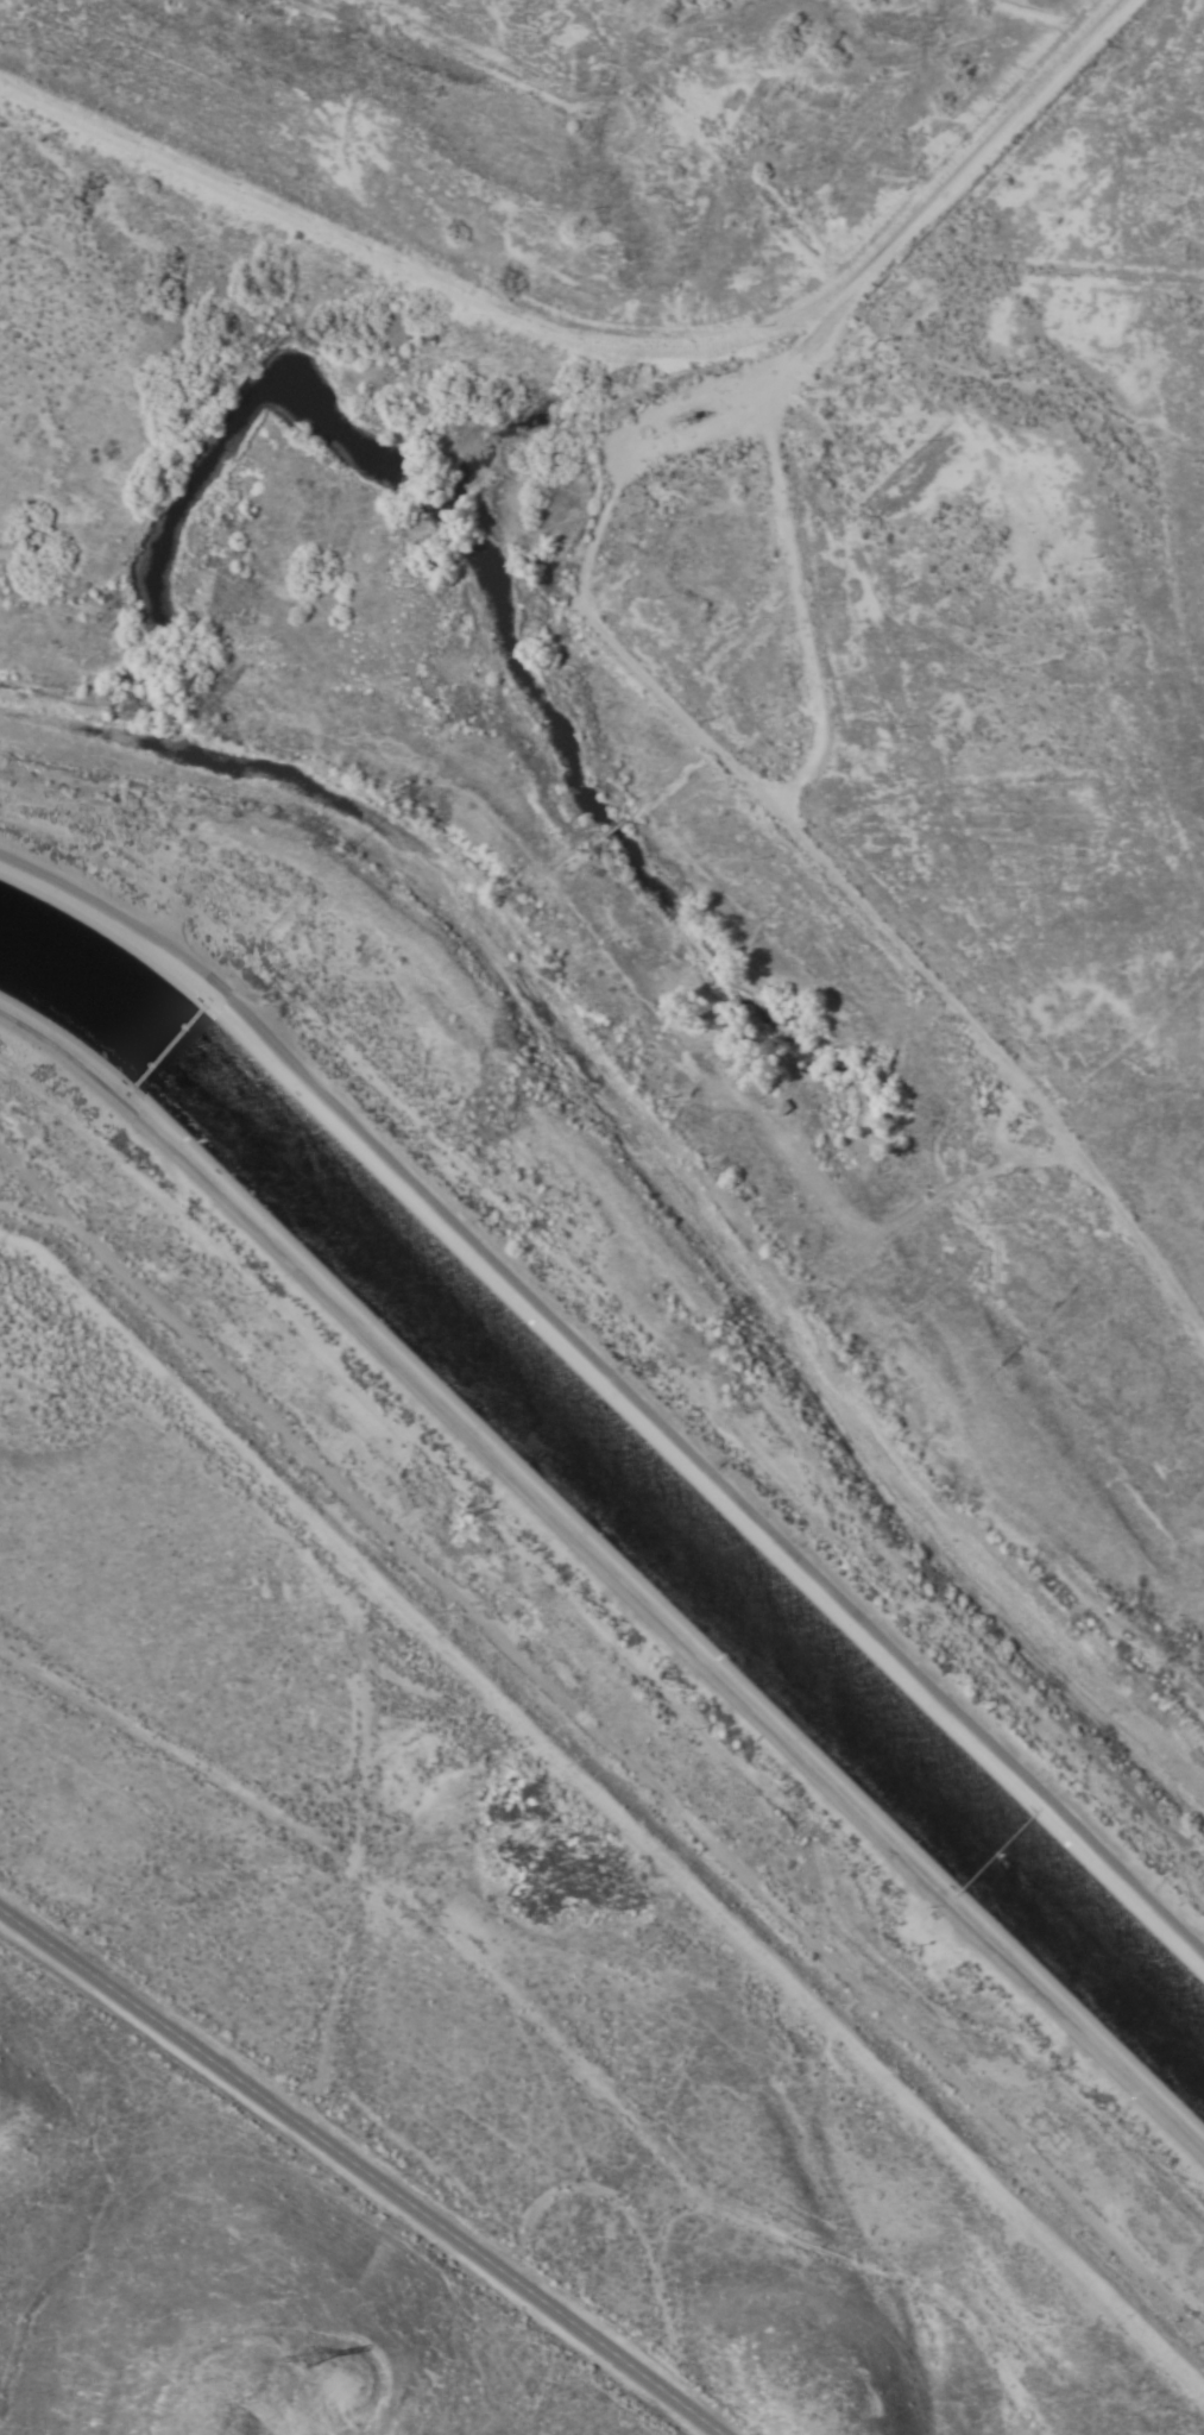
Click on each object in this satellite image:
road: (591, 331)
road: (792, 603)
road: (767, 791)
building: (781, 1108)
road: (57, 1210)
road: (636, 1325)
road: (604, 1598)
road: (641, 1774)
road: (611, 1808)
road: (339, 1827)
road: (705, 2137)
road: (364, 2169)
road: (679, 2291)
power tower: (303, 2362)

